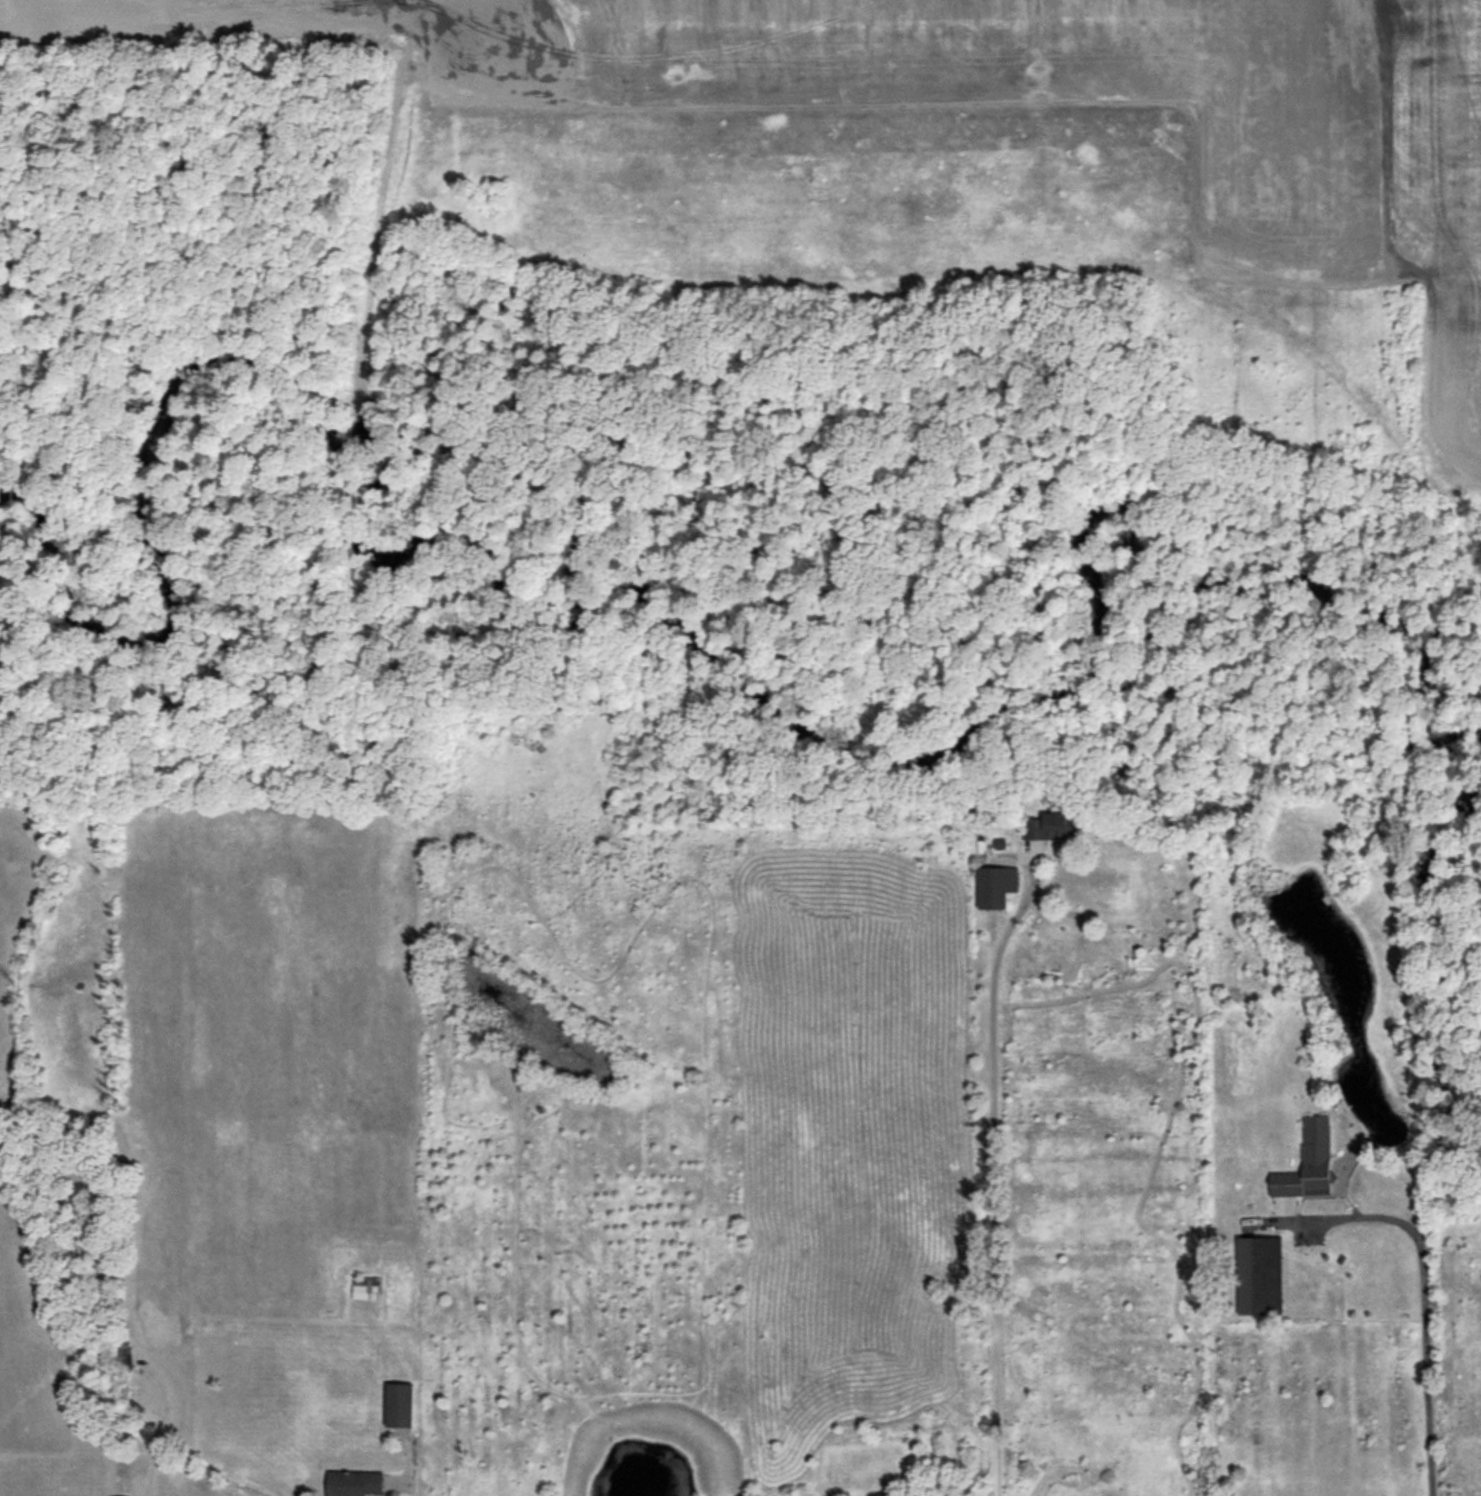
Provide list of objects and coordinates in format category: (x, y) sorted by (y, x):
building: (1051, 827)
building: (999, 843)
building: (995, 886)
building: (1307, 1162)
road: (992, 1171)
building: (1260, 1275)
building: (366, 1287)
road: (1423, 1315)
building: (399, 1405)
road: (402, 1466)
building: (353, 1483)

